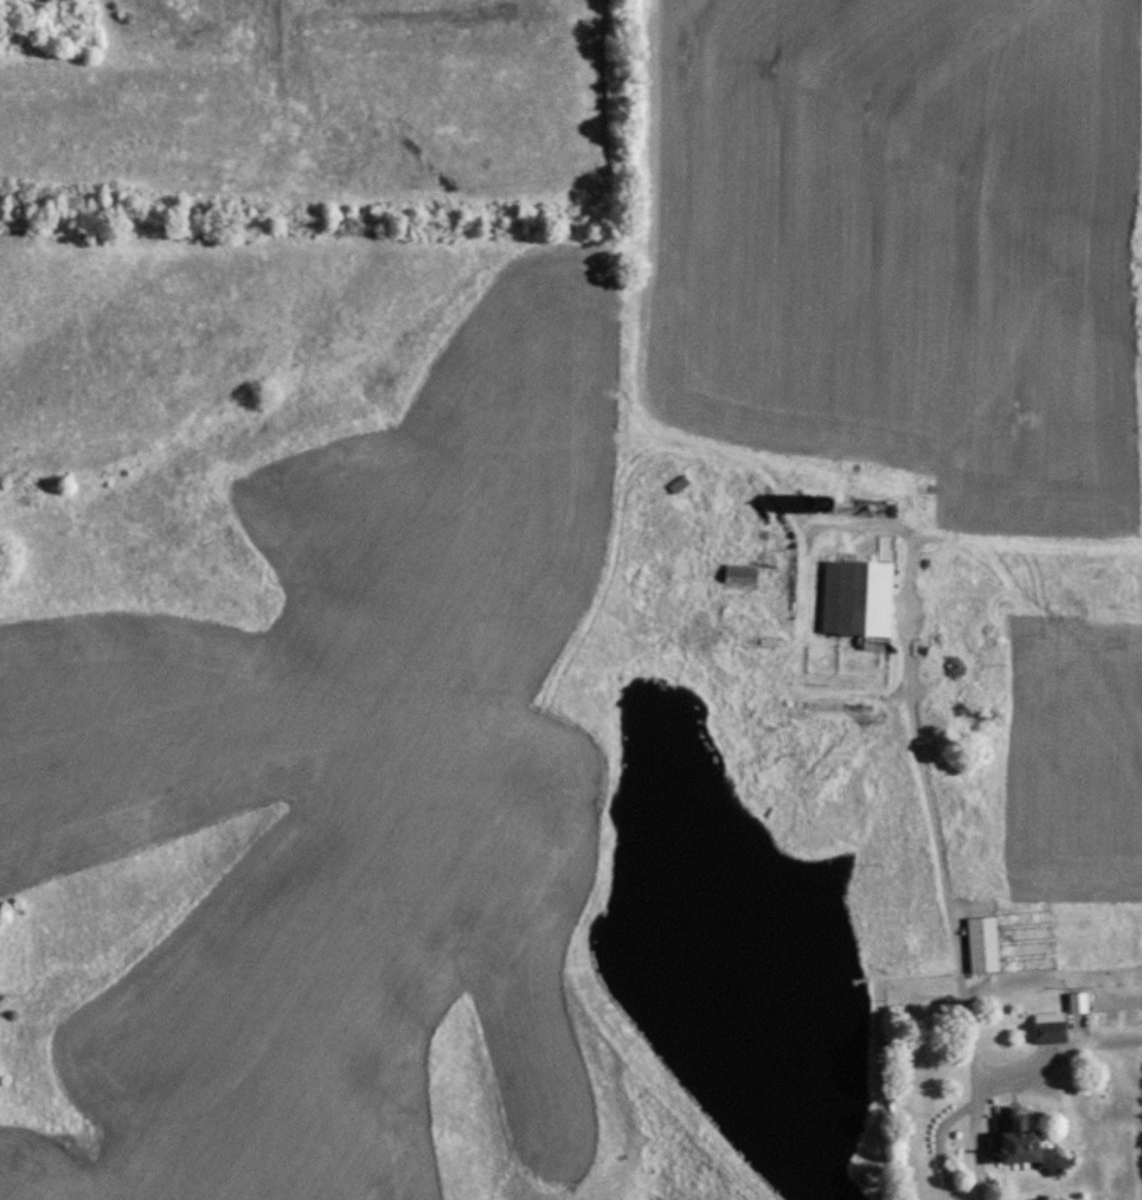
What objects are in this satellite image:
building: (739, 573)
building: (855, 599)
road: (937, 849)
building: (982, 945)
building: (1076, 1002)
building: (1047, 1027)
road: (1018, 1061)
road: (957, 1104)
building: (1003, 1116)
building: (1021, 1147)

